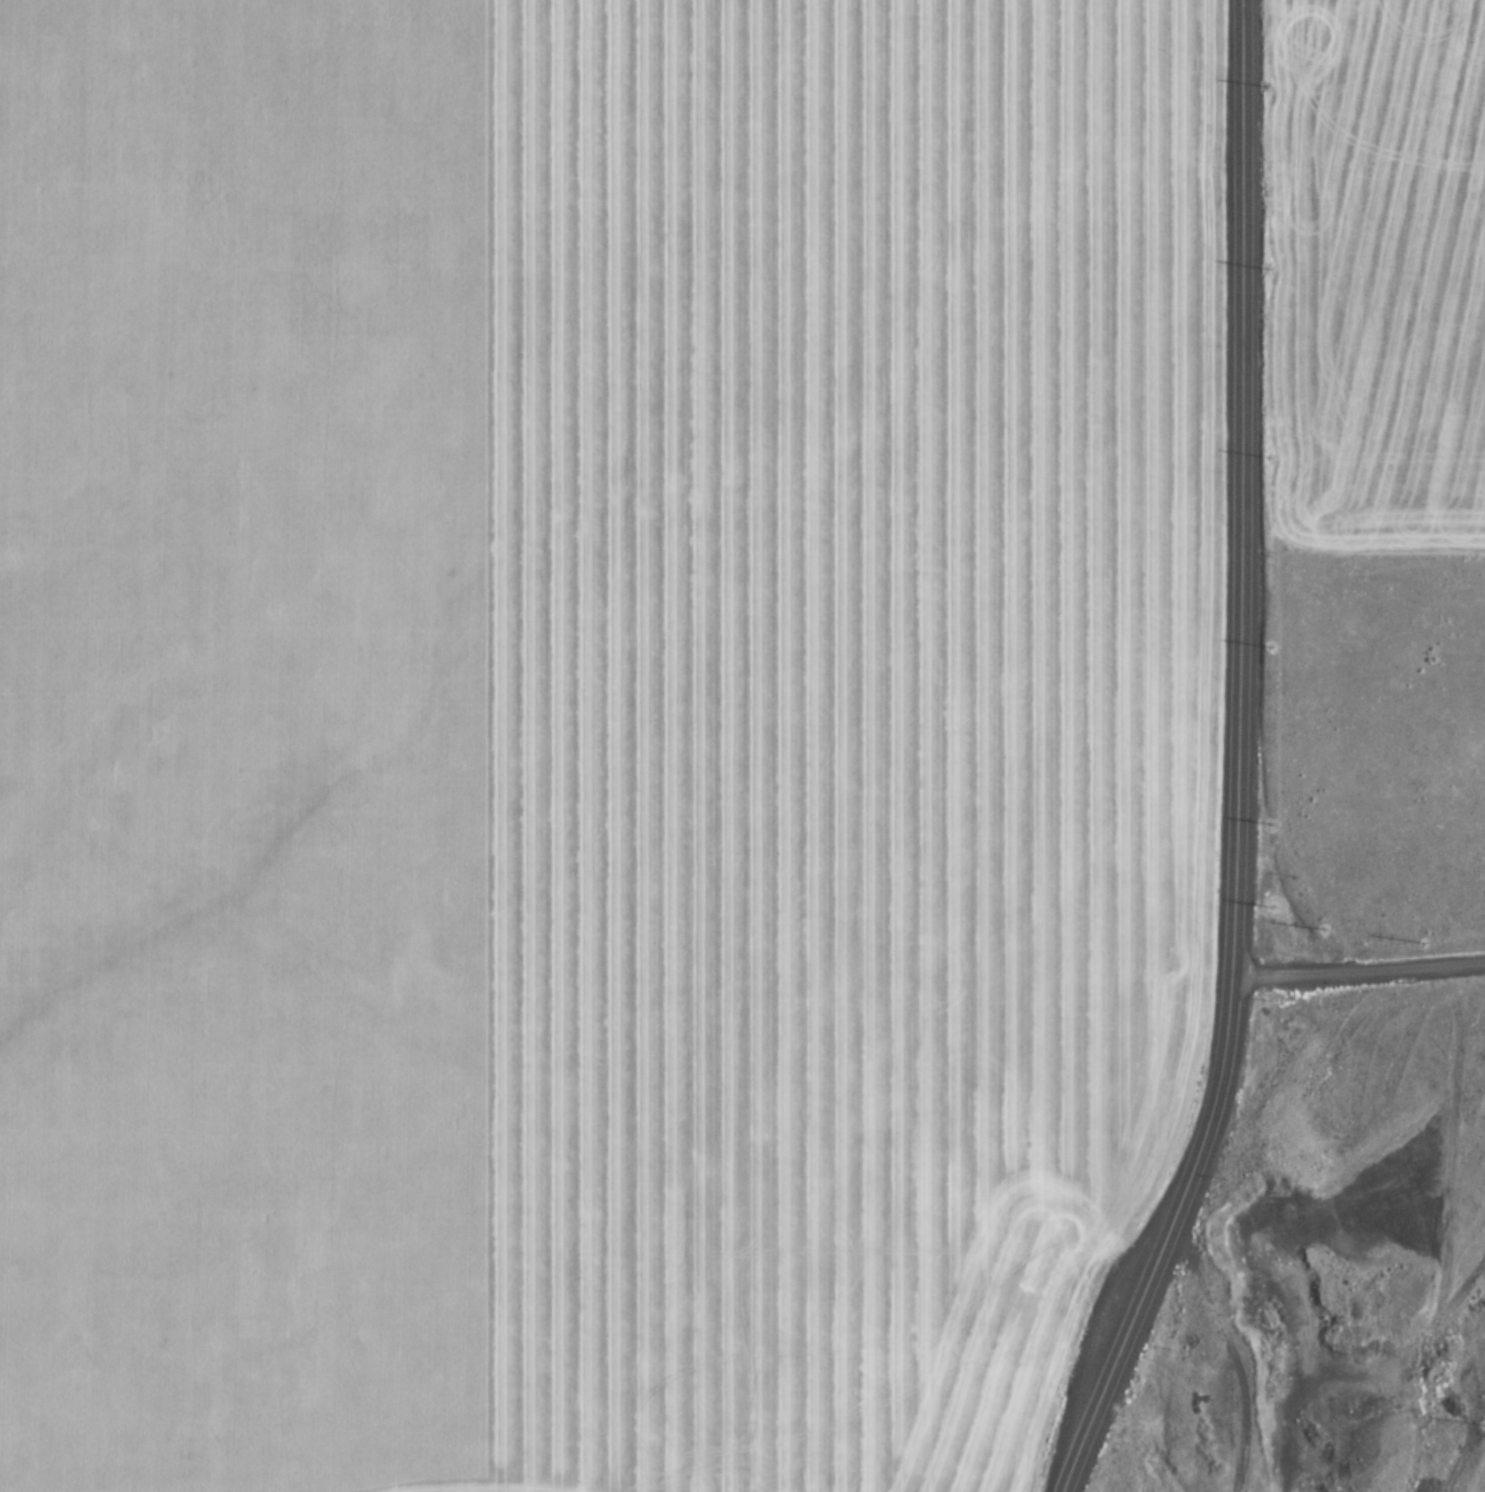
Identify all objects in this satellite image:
road: (1236, 760)
road: (1357, 969)

